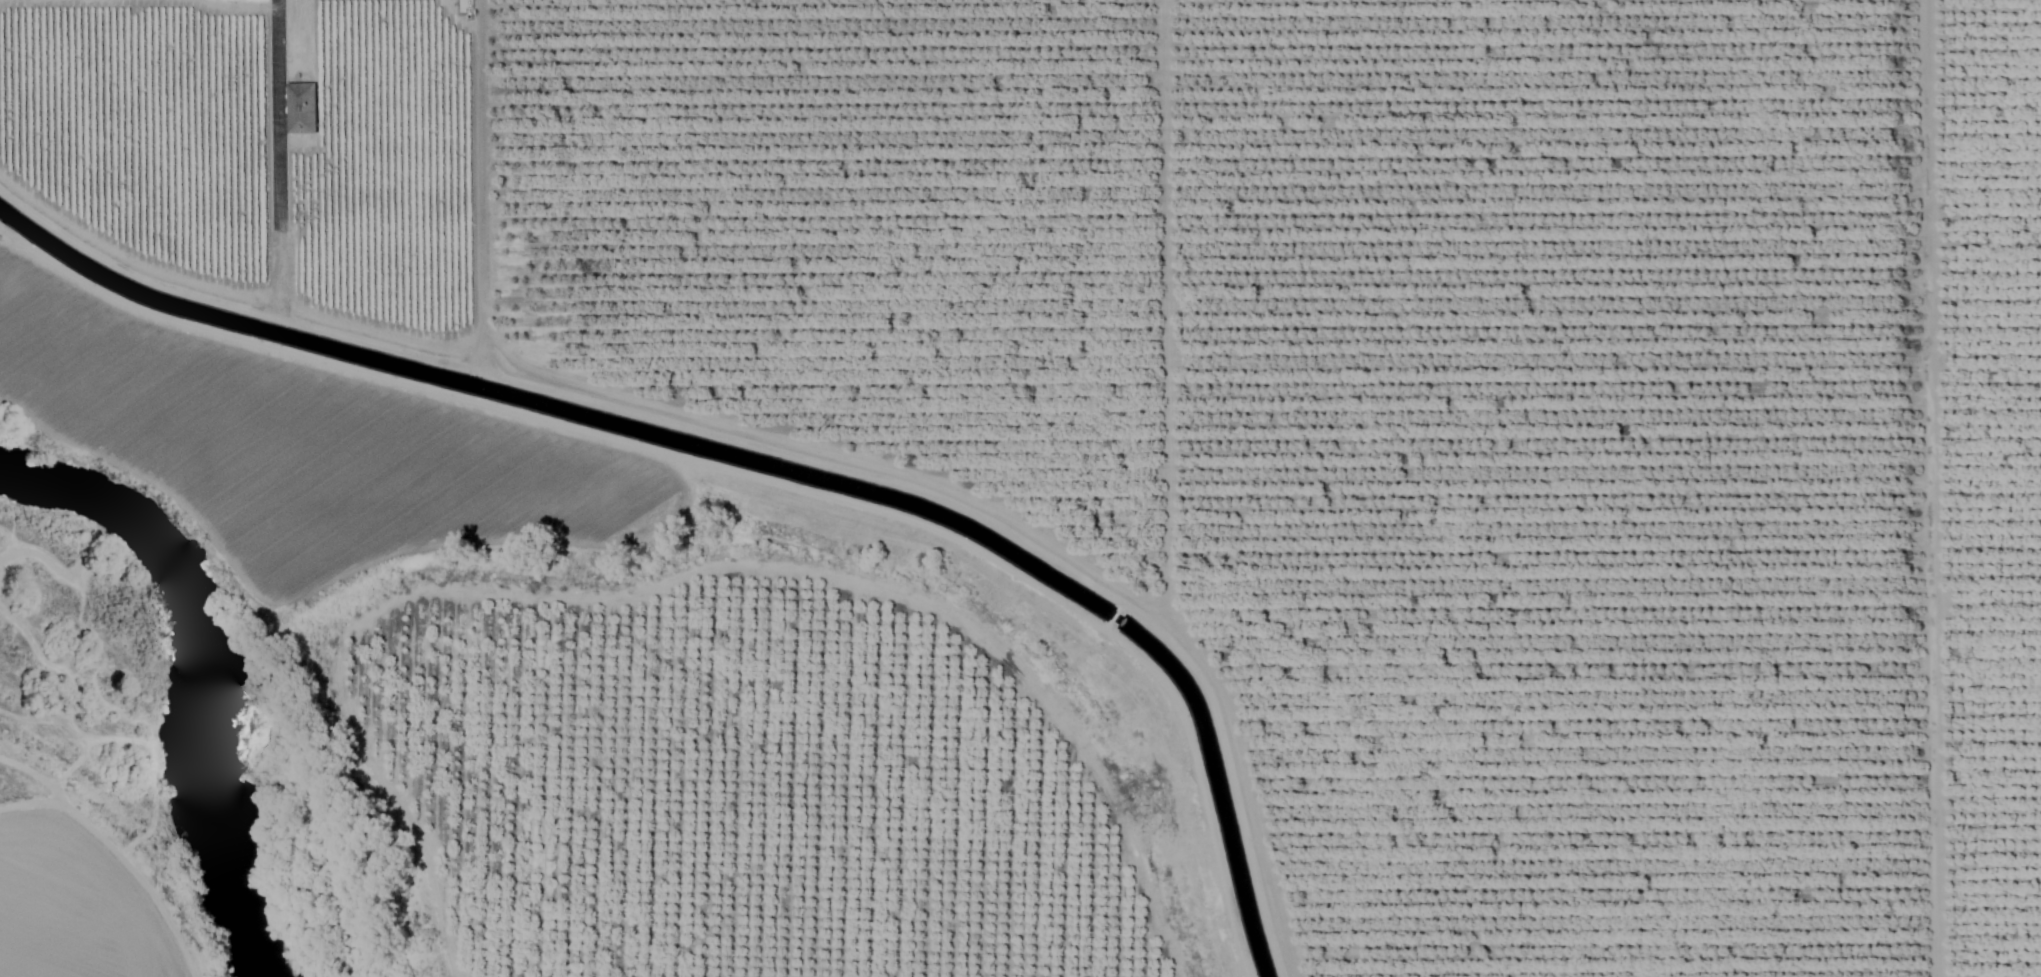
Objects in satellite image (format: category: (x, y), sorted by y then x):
road: (275, 106)
building: (302, 107)
crop: (1098, 461)
river: (185, 684)

